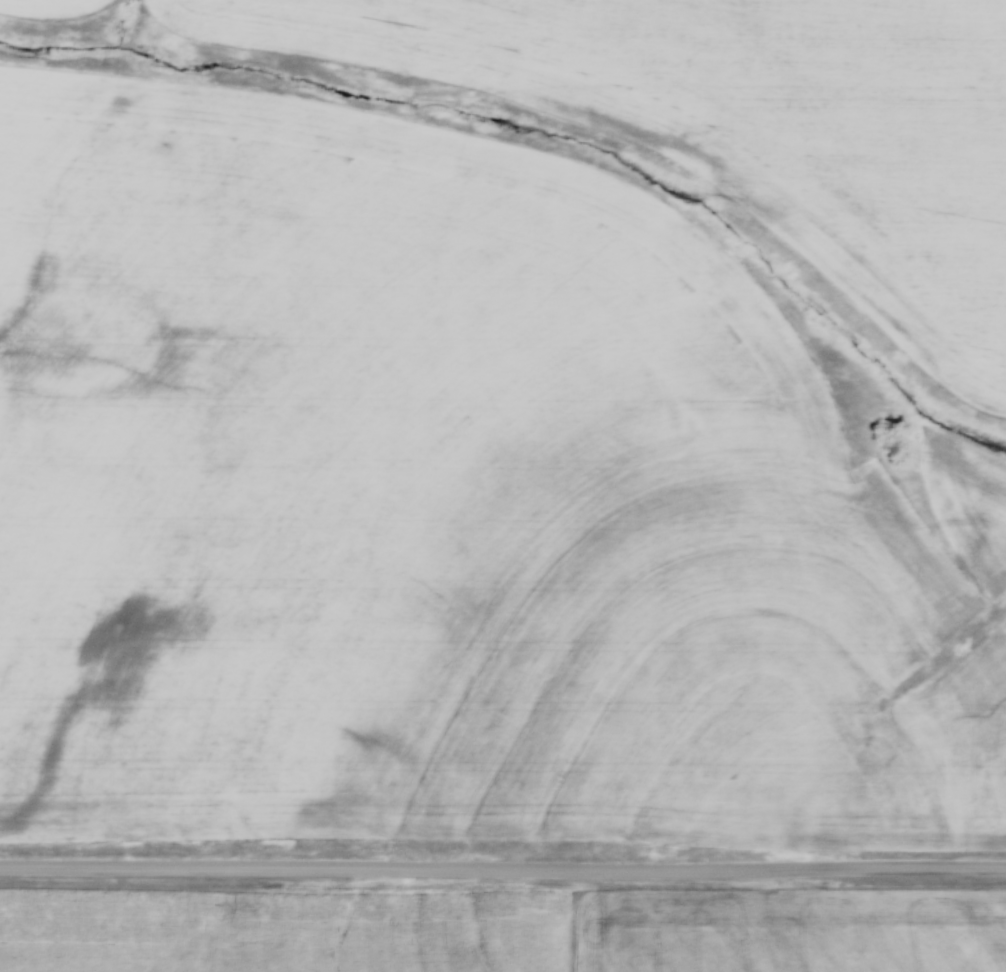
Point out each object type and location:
road: (503, 871)

